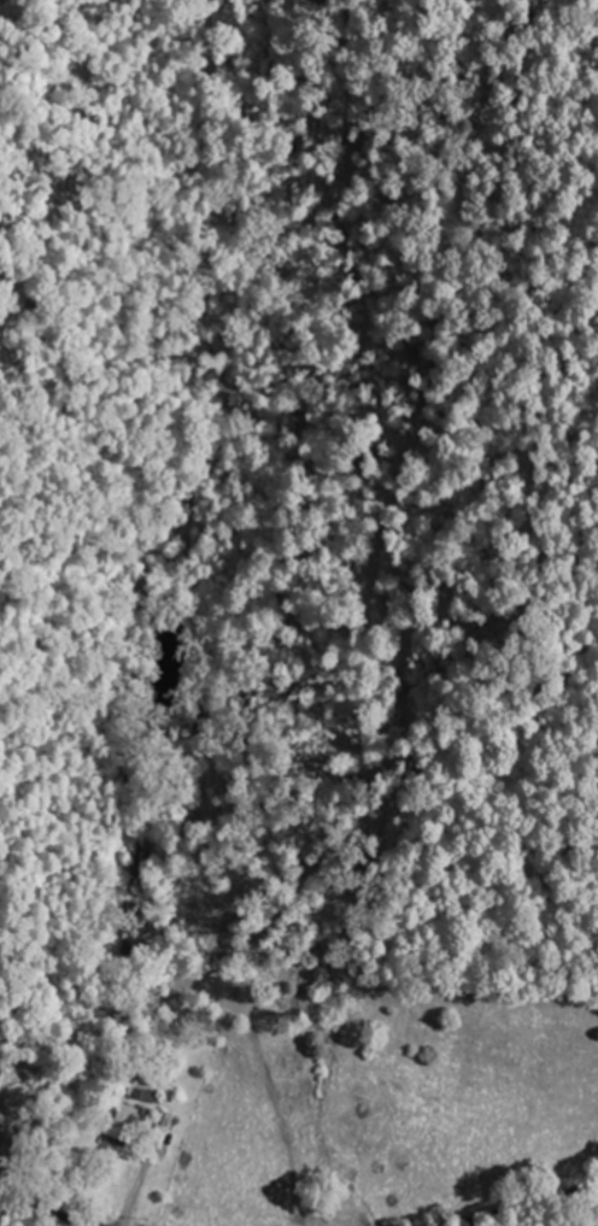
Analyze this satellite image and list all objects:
building: (129, 1121)
building: (169, 1122)
road: (520, 1204)
road: (49, 1213)

